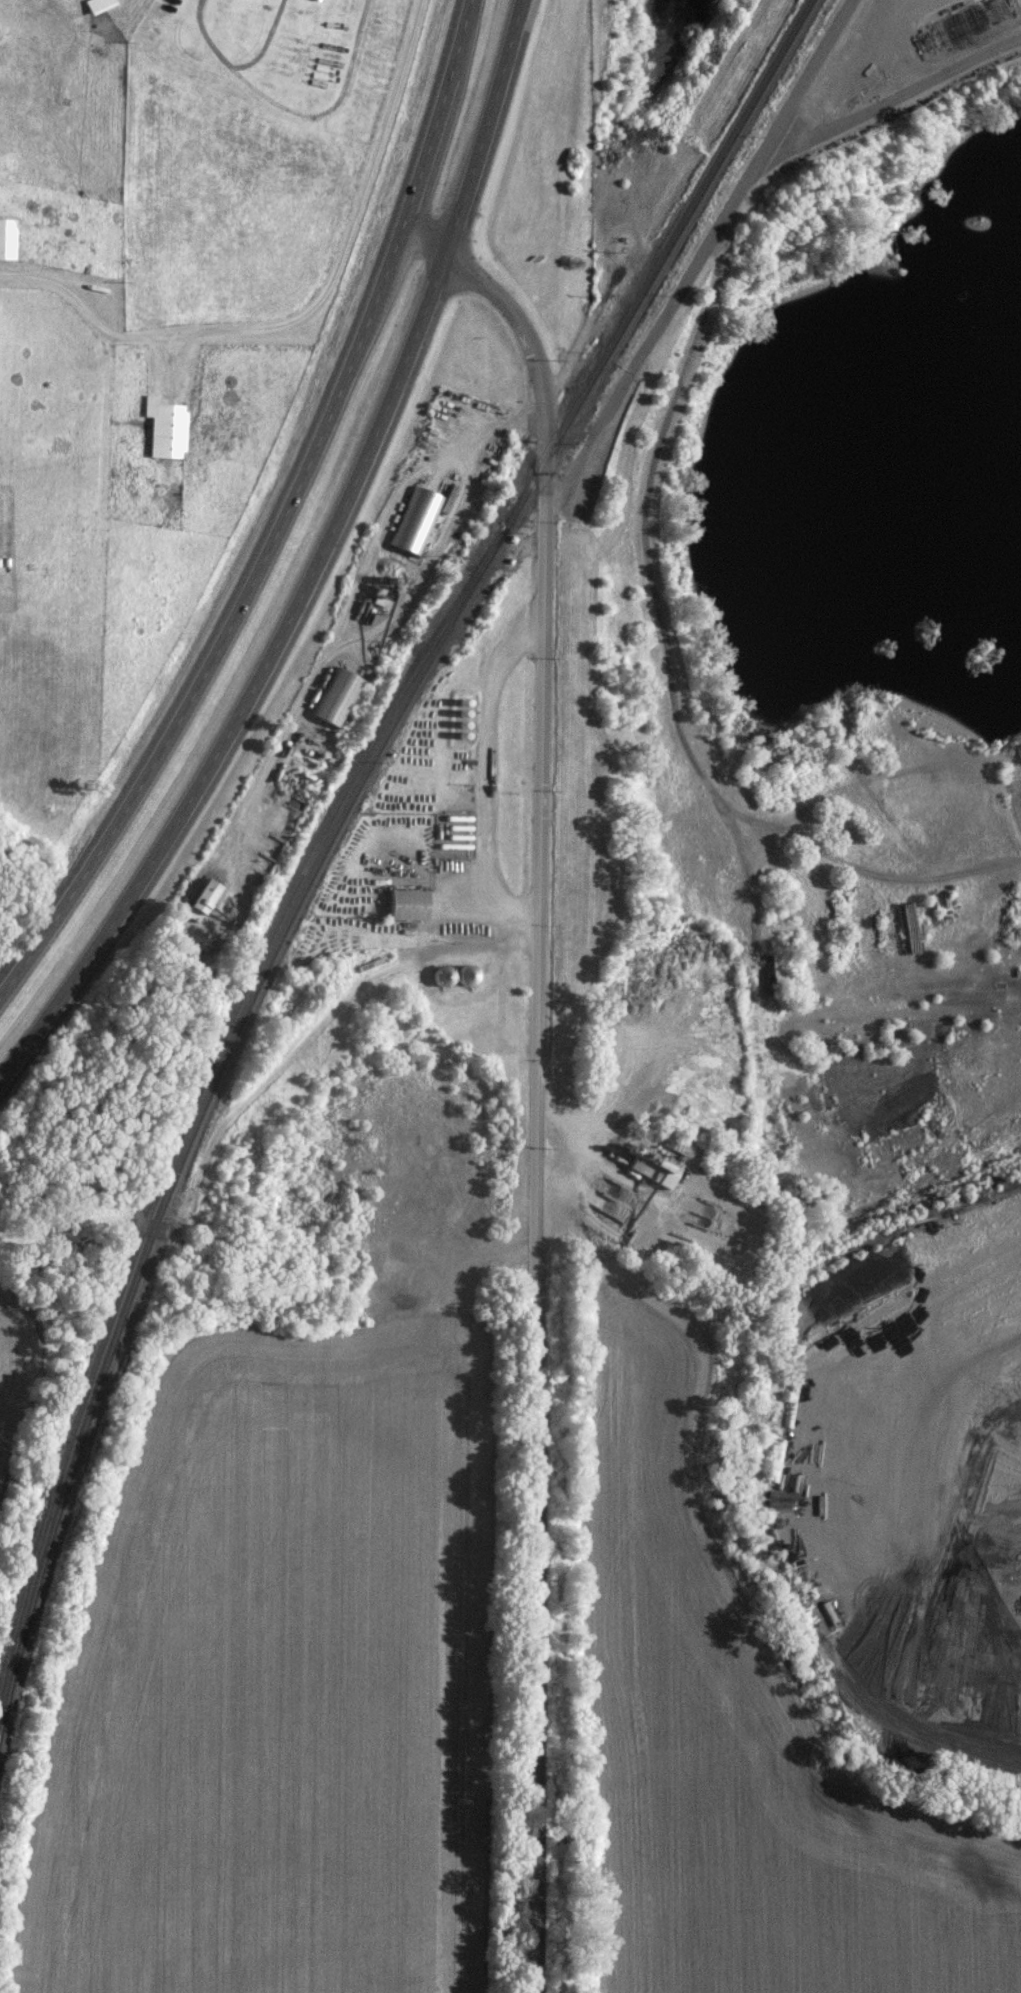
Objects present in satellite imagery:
road: (807, 71)
building: (6, 238)
road: (307, 313)
road: (687, 364)
road: (637, 371)
road: (541, 391)
building: (164, 428)
road: (284, 518)
building: (415, 522)
road: (318, 567)
road: (545, 683)
building: (335, 696)
road: (487, 774)
road: (782, 827)
railway: (332, 836)
building: (197, 898)
building: (405, 904)
railway: (190, 1111)
building: (655, 1169)
road: (536, 1373)

